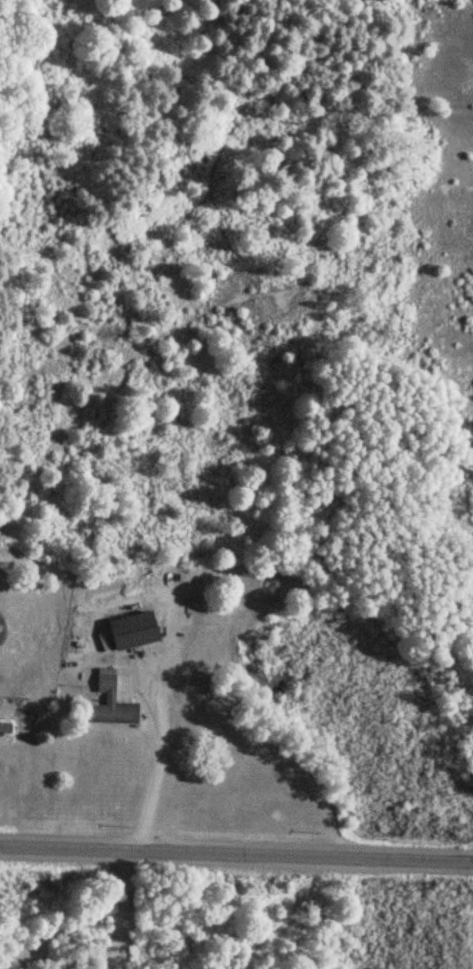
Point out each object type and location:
building: (128, 630)
building: (109, 702)
building: (4, 728)
road: (236, 855)
road: (127, 912)

